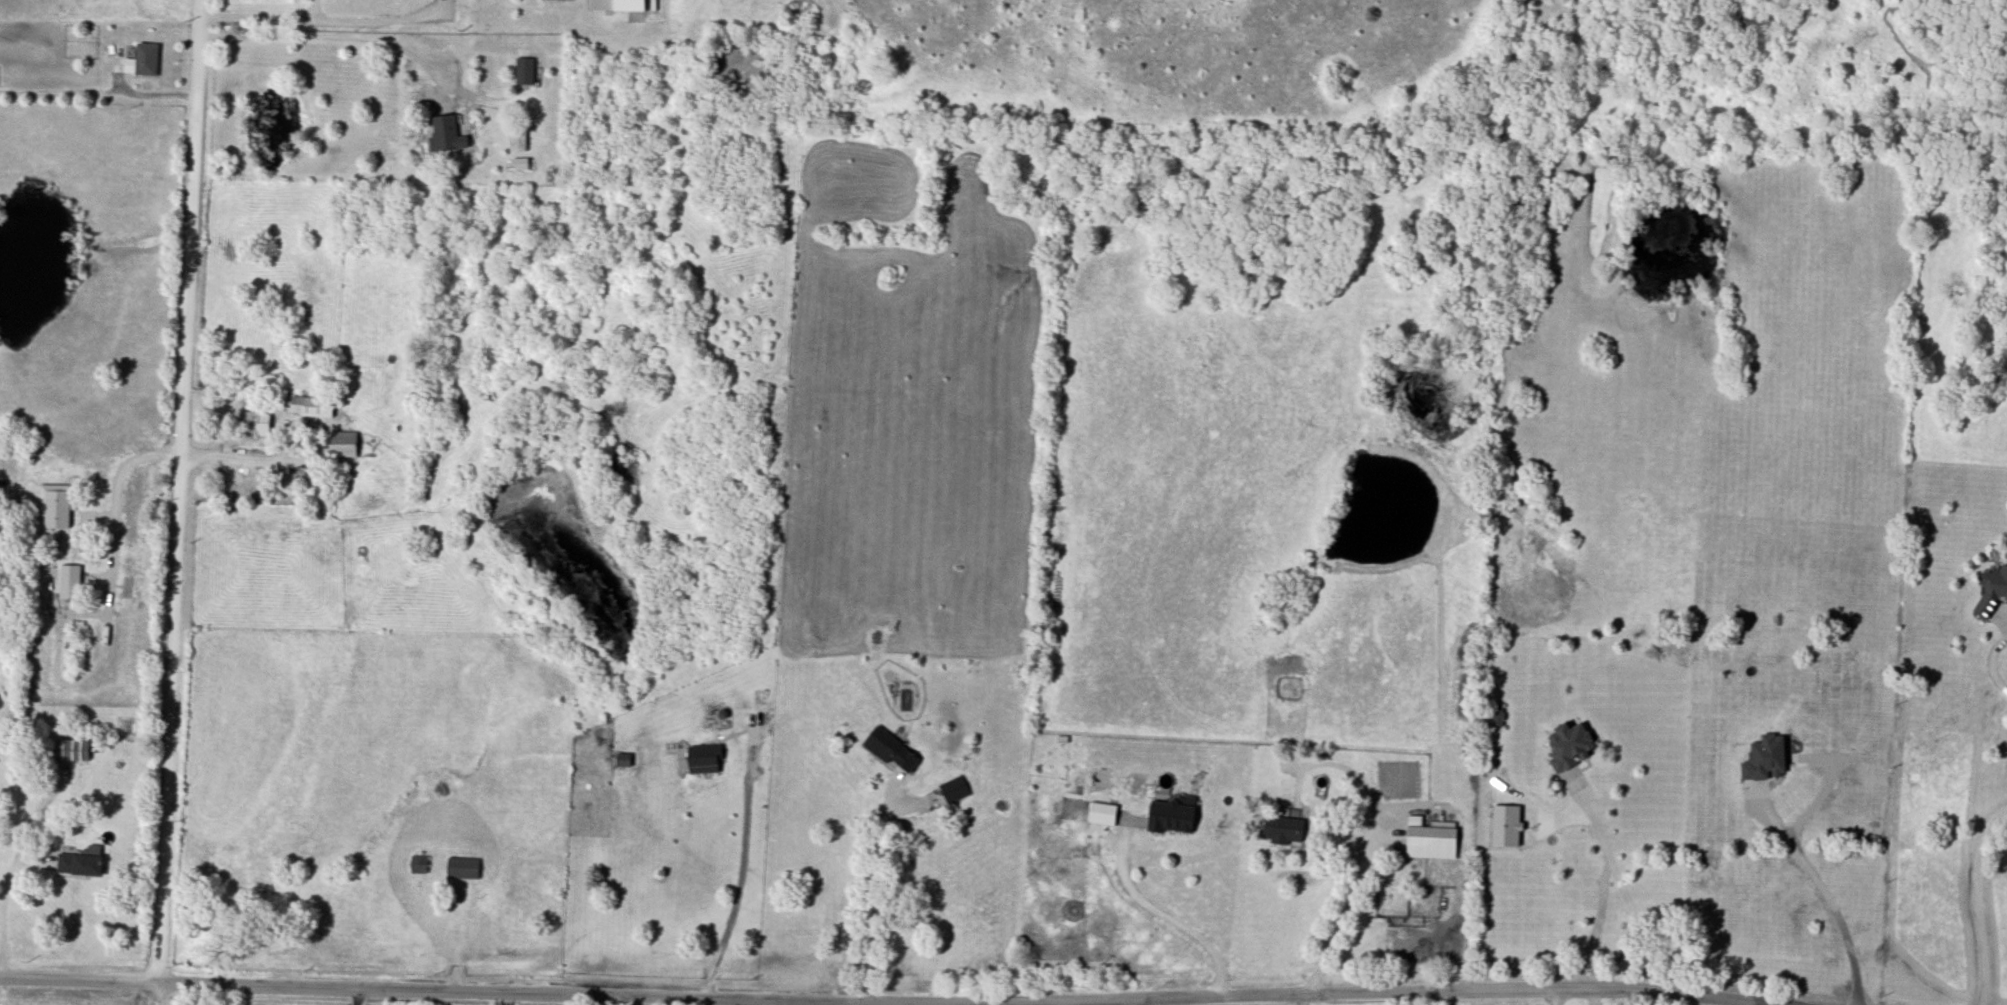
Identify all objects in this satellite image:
road: (314, 10)
road: (327, 20)
road: (330, 38)
building: (145, 61)
building: (523, 72)
building: (445, 135)
building: (517, 141)
building: (311, 409)
building: (255, 424)
building: (342, 446)
road: (241, 449)
road: (181, 488)
road: (111, 531)
building: (1994, 585)
building: (75, 751)
building: (891, 753)
building: (701, 761)
building: (954, 791)
building: (1101, 816)
building: (1170, 820)
building: (1283, 831)
building: (1431, 844)
building: (84, 864)
building: (418, 866)
building: (462, 870)
road: (6, 871)
road: (741, 871)
building: (1566, 873)
road: (1620, 885)
road: (1826, 894)
road: (872, 895)
road: (1976, 902)
road: (1161, 914)
road: (1339, 921)
road: (1594, 927)
road: (350, 986)
road: (152, 991)
road: (1433, 995)
road: (352, 996)
road: (1556, 999)
road: (508, 1000)
road: (1269, 1002)

